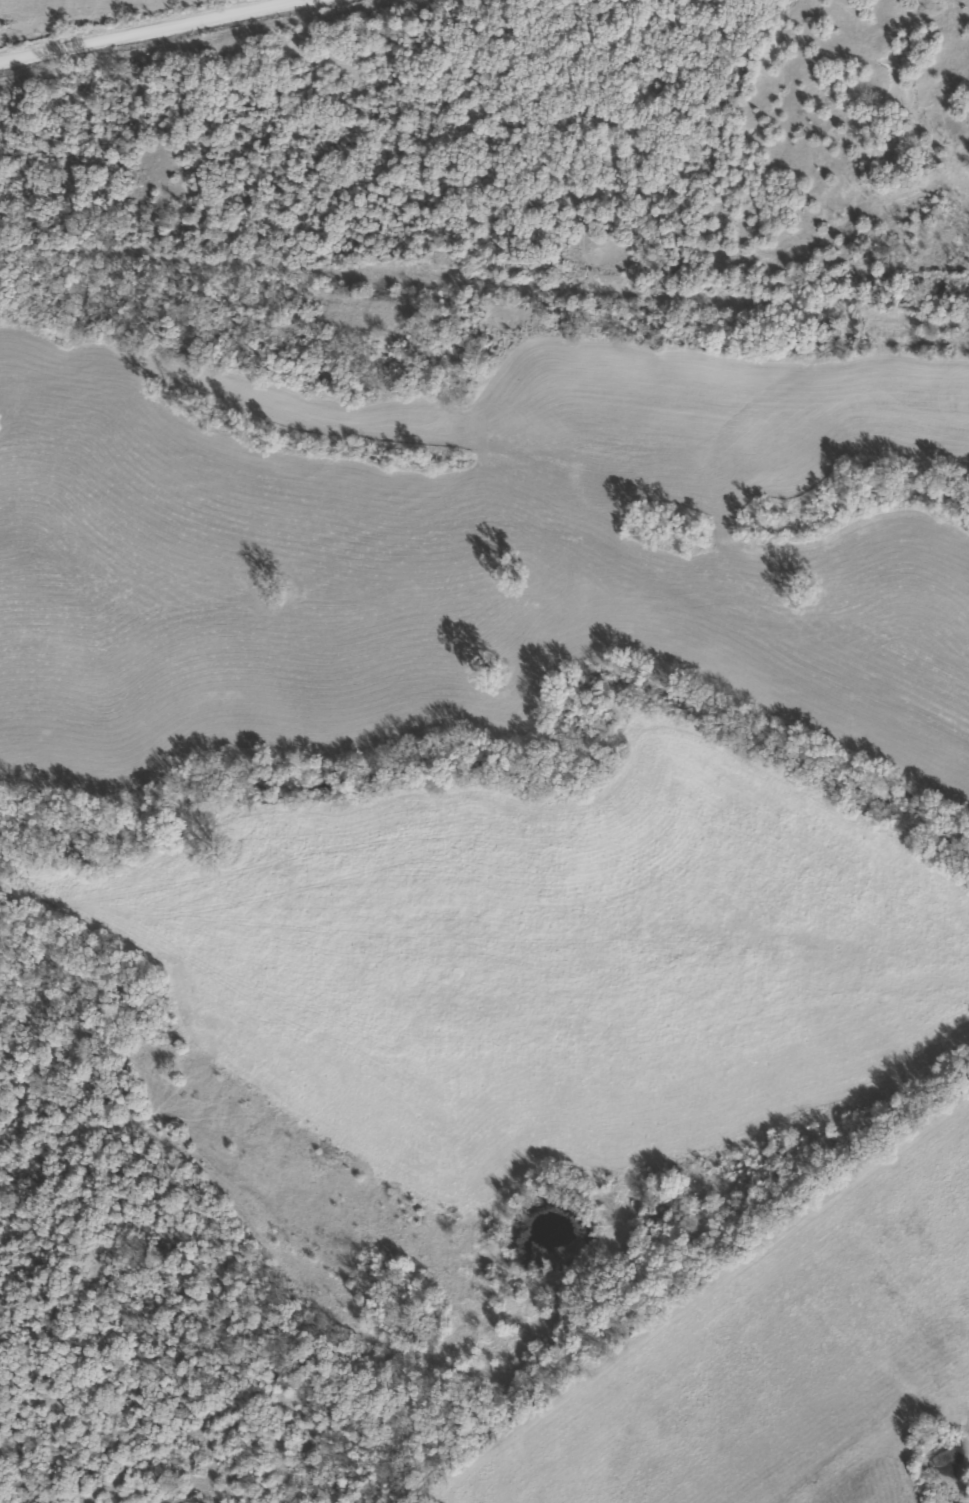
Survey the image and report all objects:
road: (122, 23)
railway: (484, 263)

